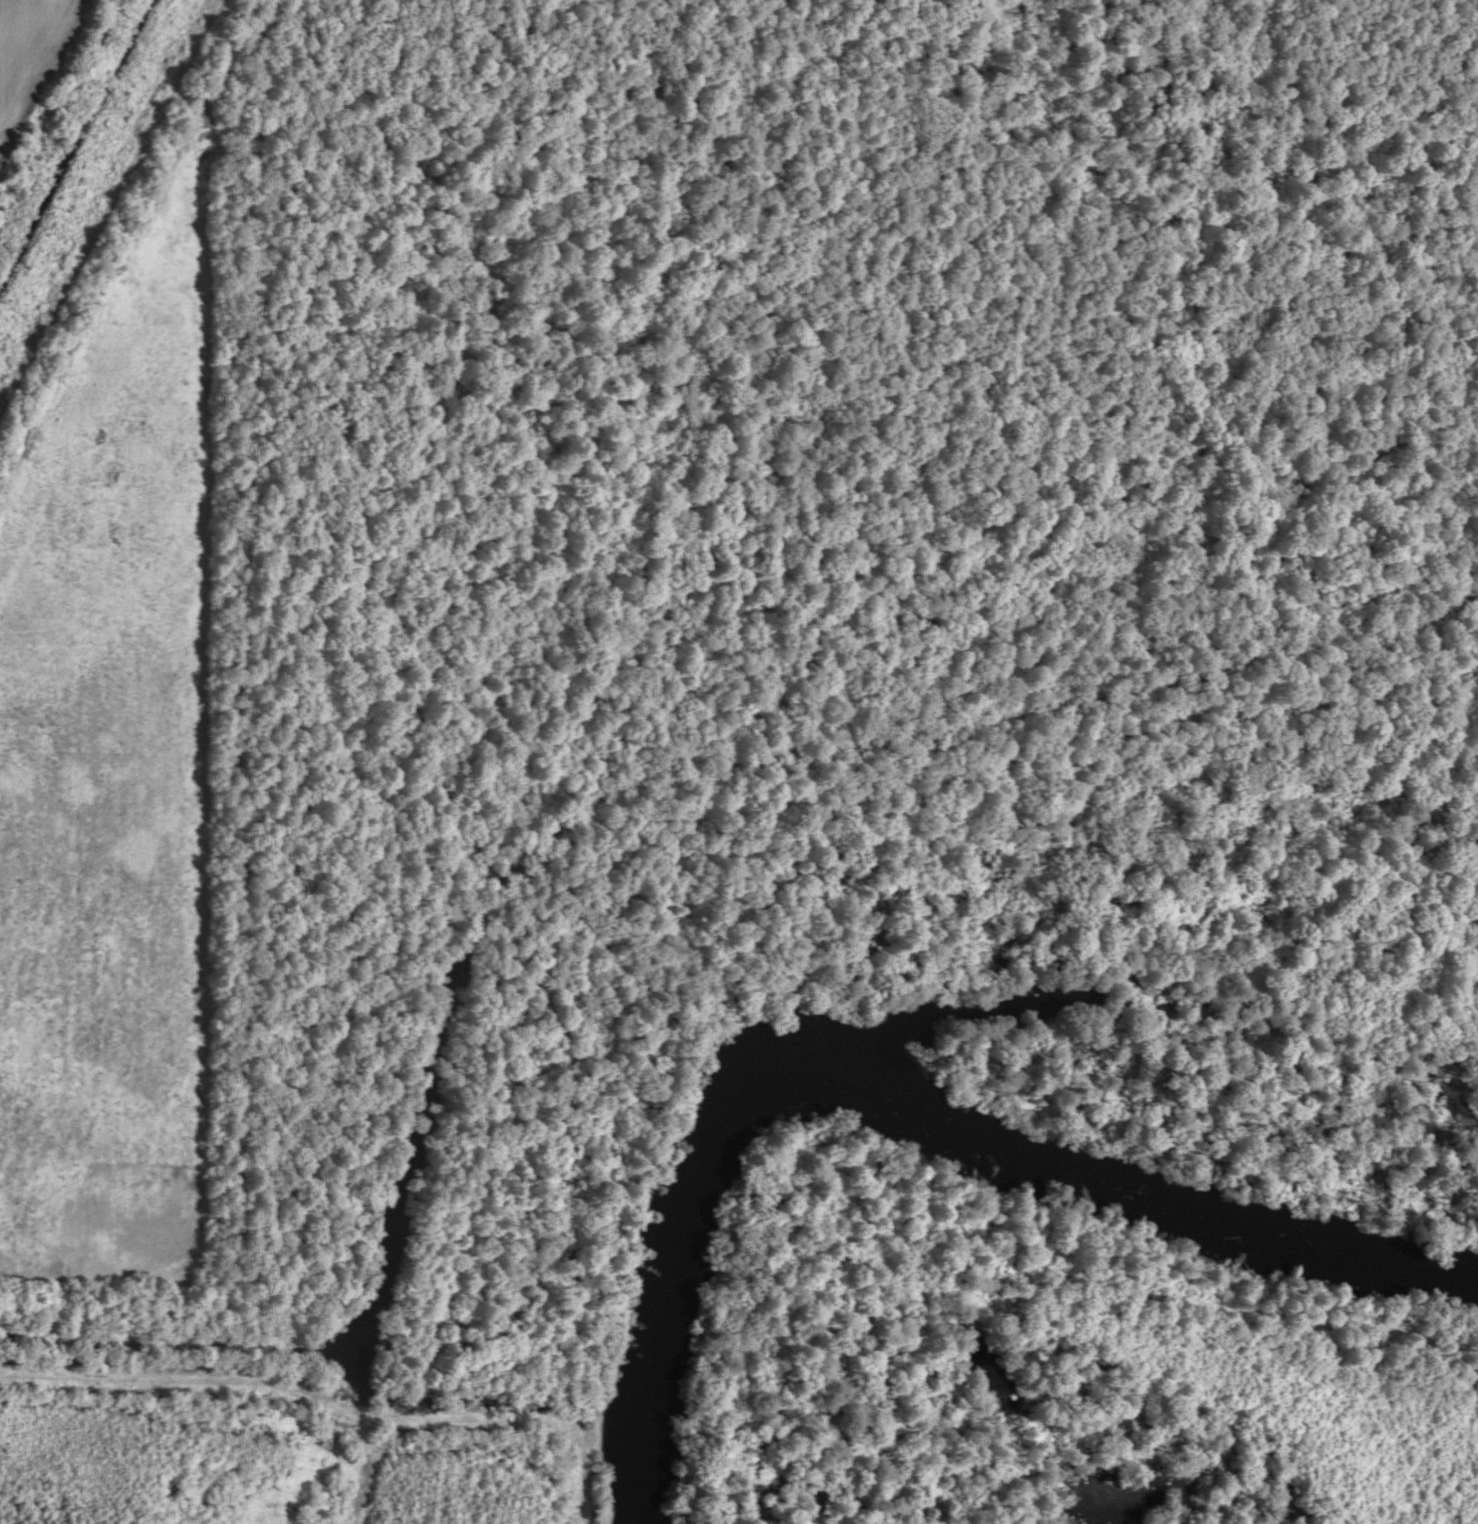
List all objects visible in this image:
river: (889, 1115)

